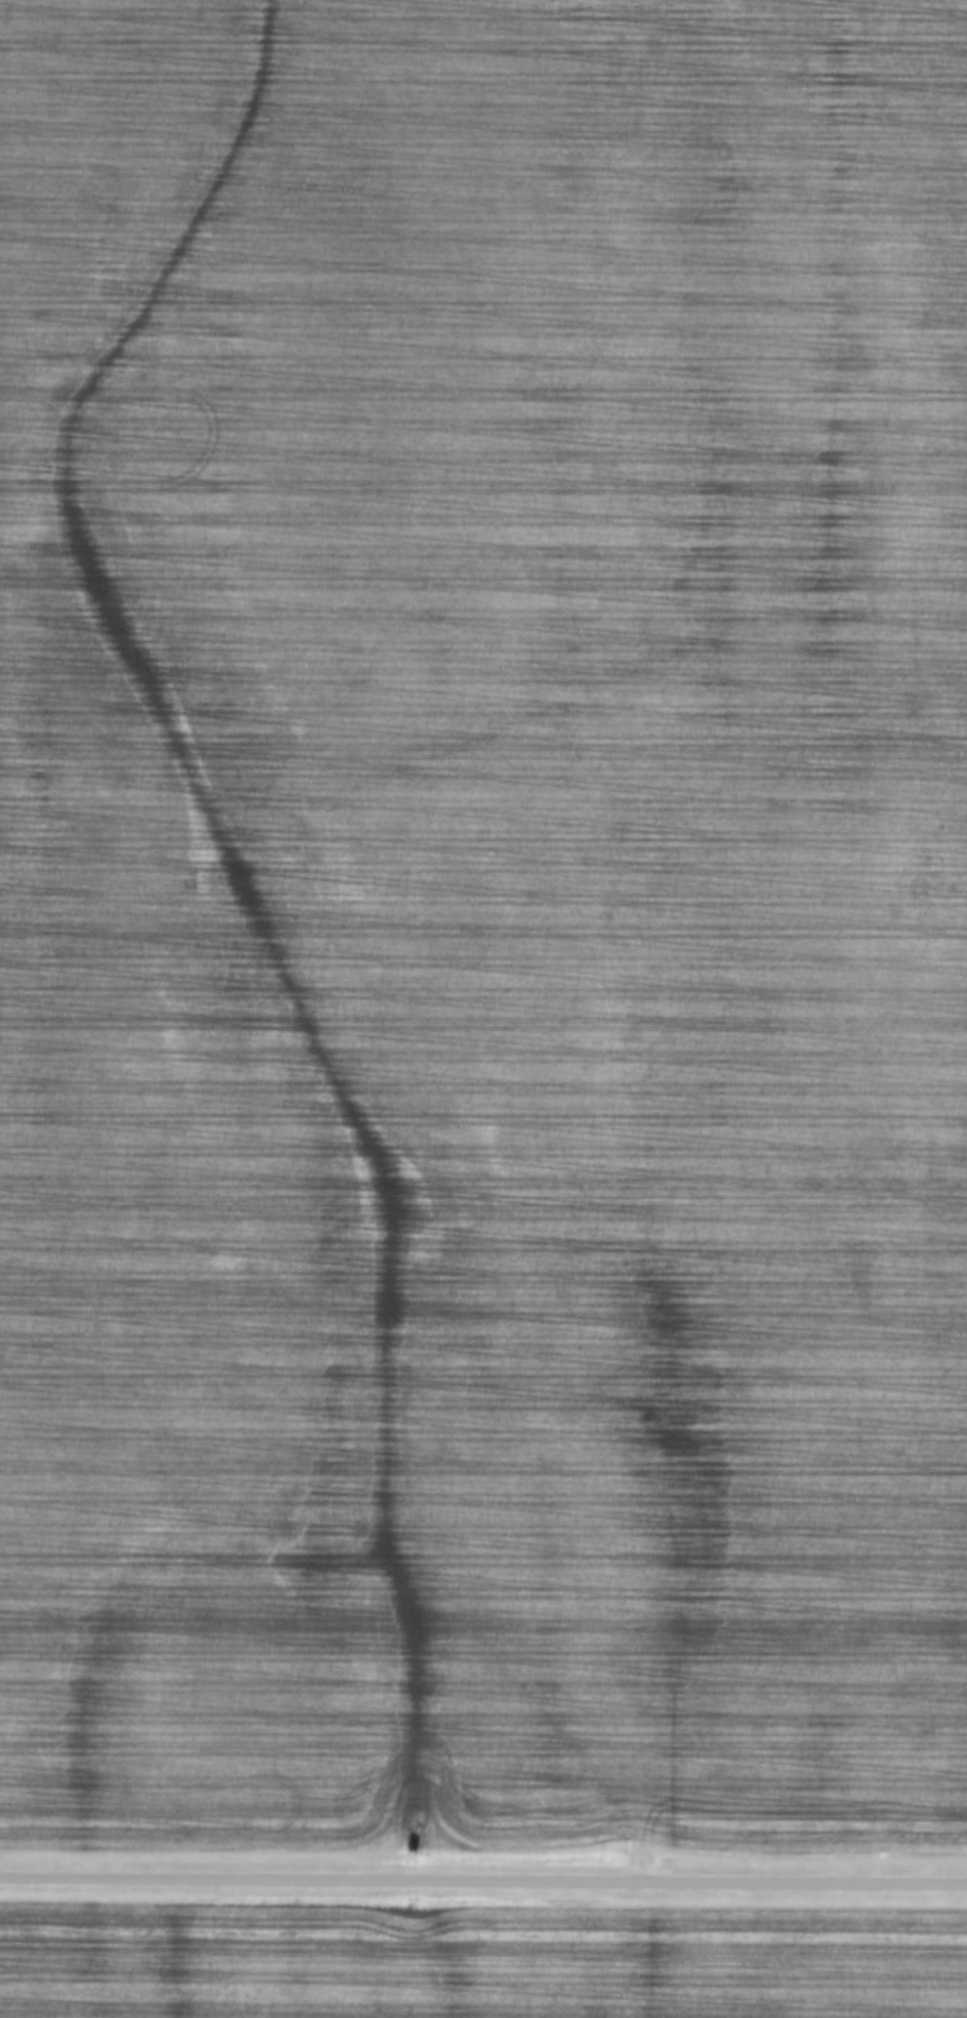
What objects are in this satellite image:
road: (483, 1881)

